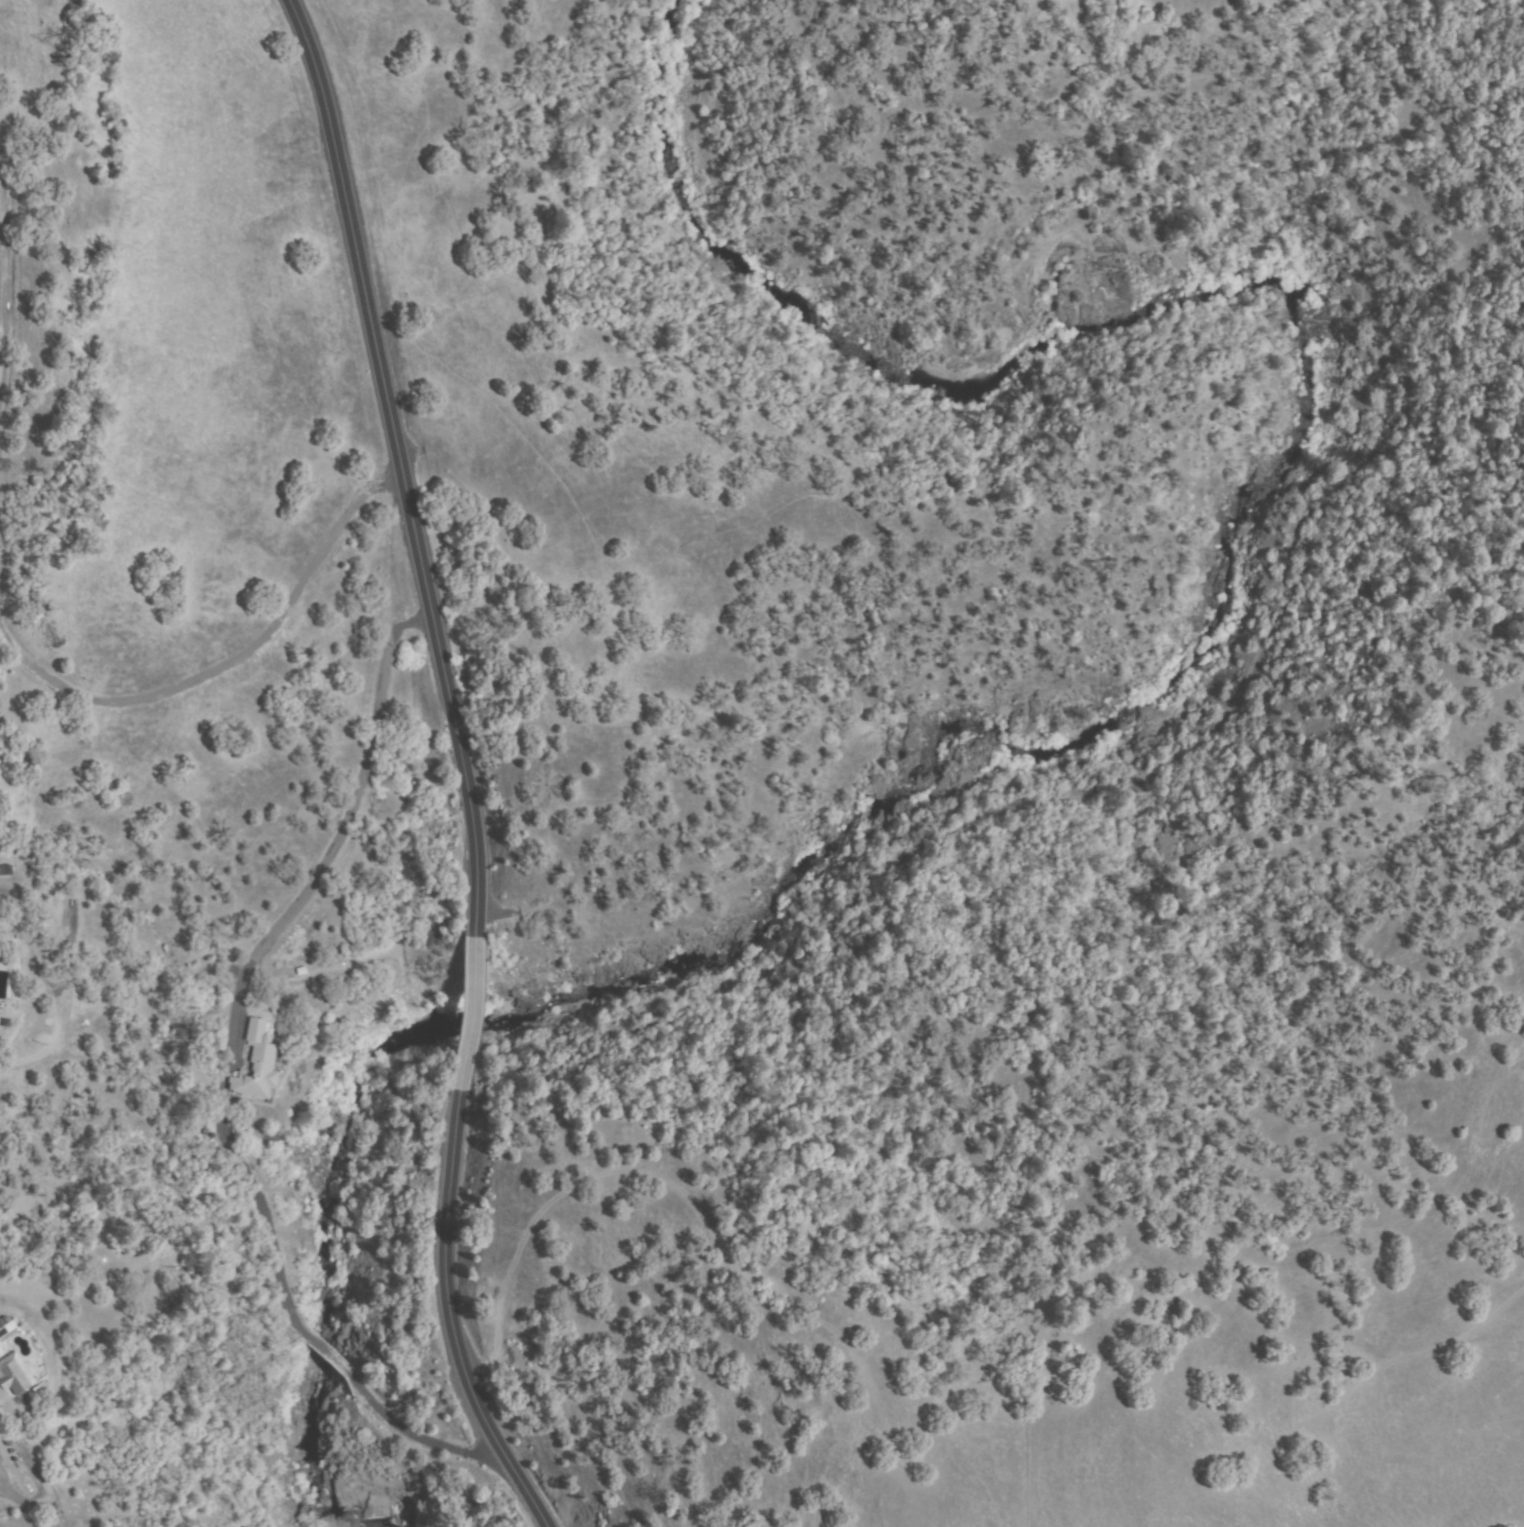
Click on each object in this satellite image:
road: (6, 284)
road: (369, 310)
road: (229, 664)
road: (468, 785)
building: (5, 873)
road: (11, 889)
road: (250, 952)
road: (471, 979)
road: (465, 1049)
building: (256, 1064)
road: (452, 1318)
building: (2, 1332)
road: (327, 1354)
building: (14, 1376)
road: (424, 1440)

